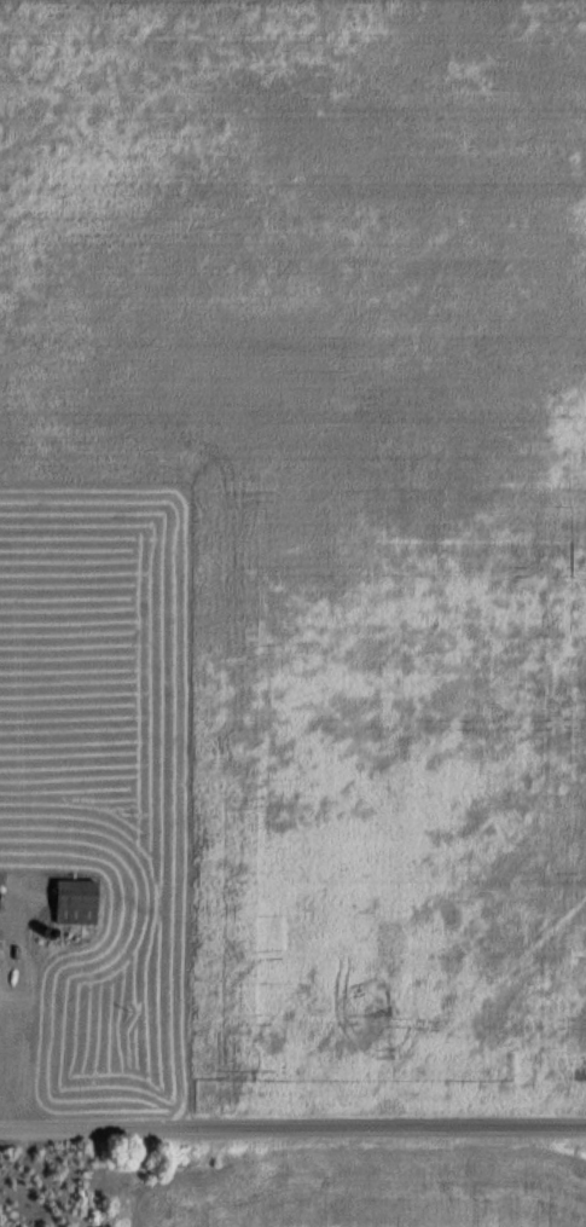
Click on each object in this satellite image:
building: (74, 903)
road: (292, 1129)

